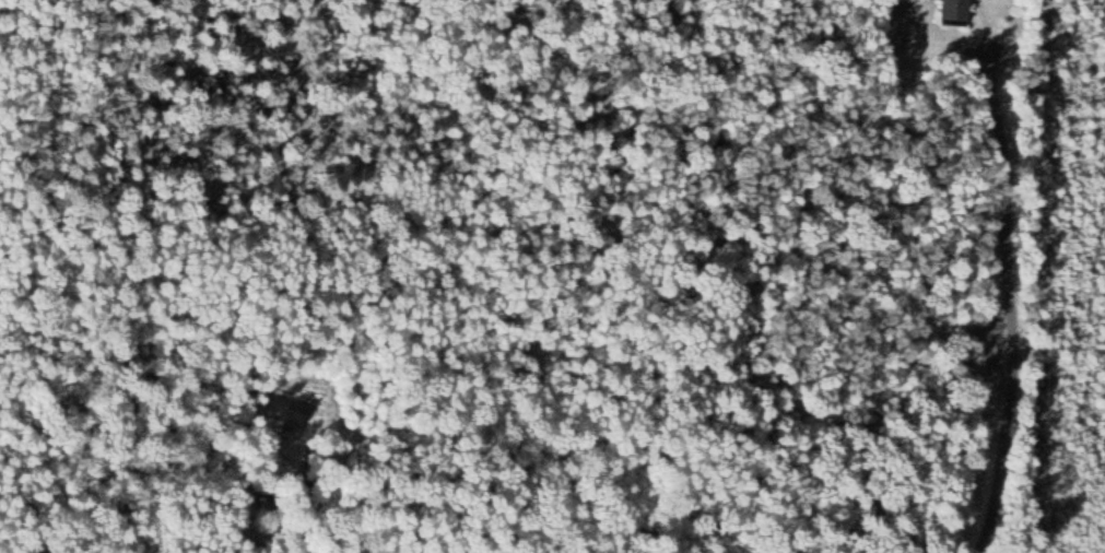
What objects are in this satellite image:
building: (957, 12)

